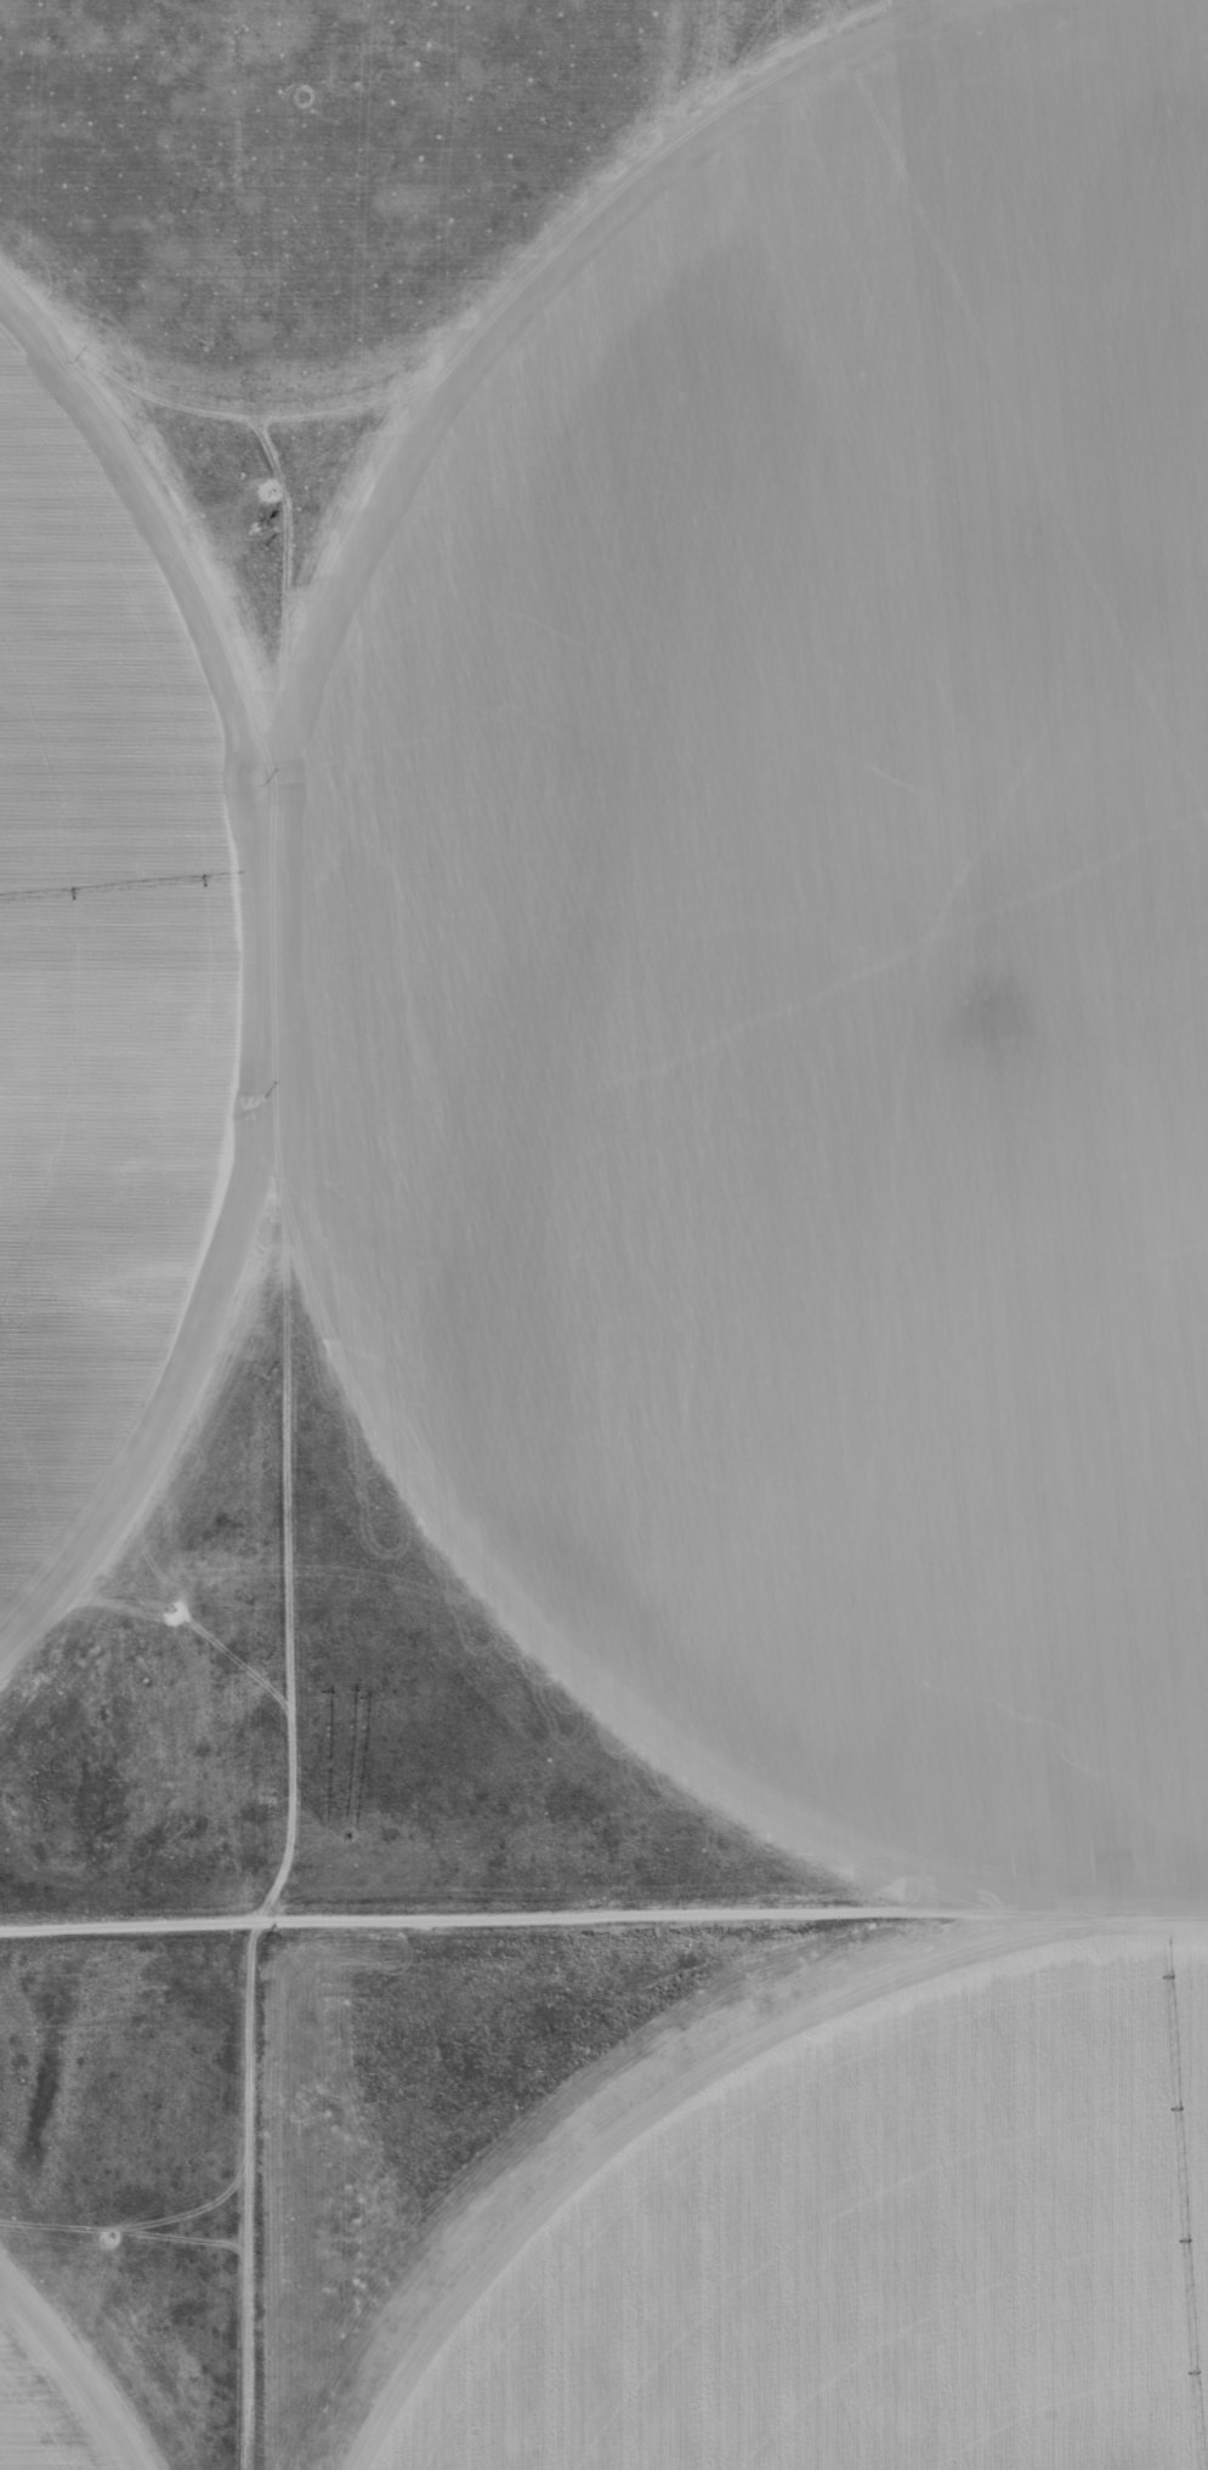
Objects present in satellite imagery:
road: (603, 1934)

